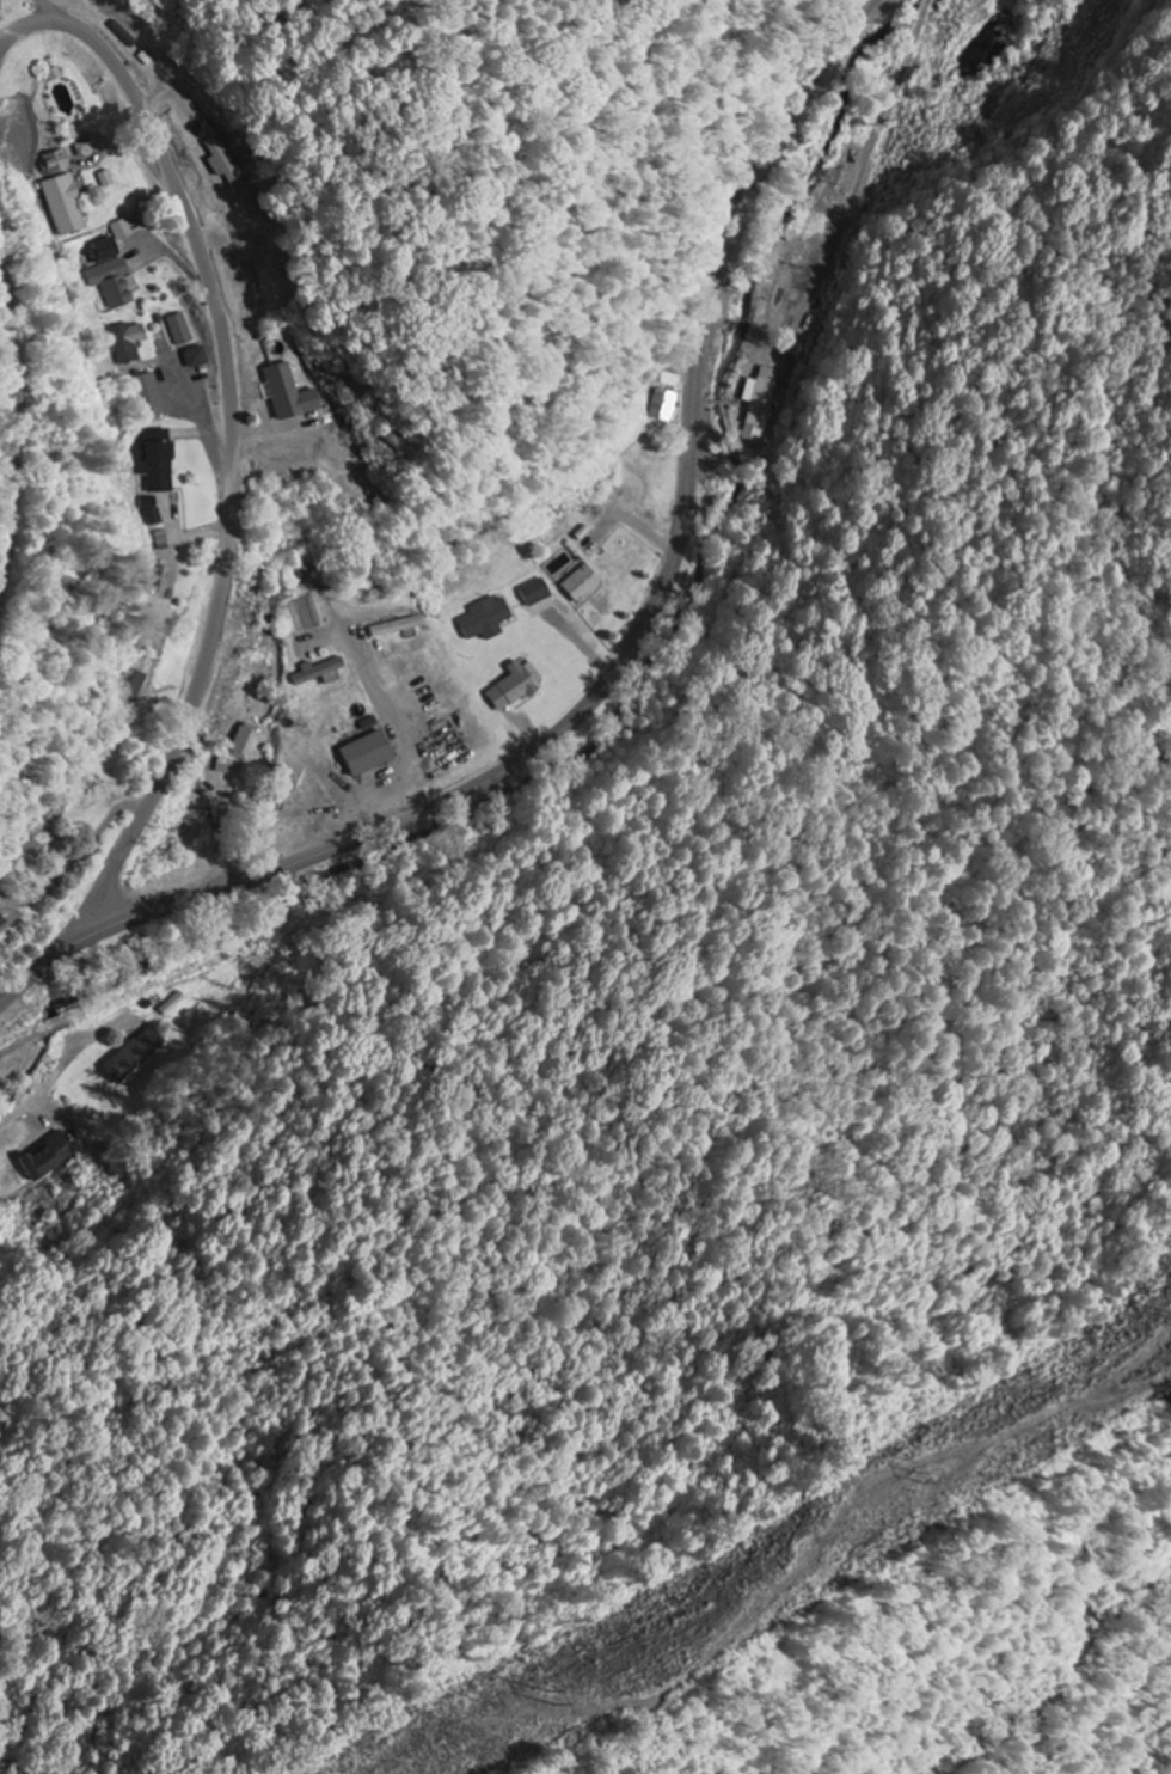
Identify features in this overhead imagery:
road: (53, 13)
building: (222, 165)
building: (106, 179)
building: (65, 196)
building: (123, 231)
building: (104, 251)
building: (115, 283)
building: (182, 330)
building: (129, 342)
building: (196, 357)
building: (289, 394)
building: (148, 398)
building: (759, 404)
building: (663, 406)
road: (14, 421)
road: (232, 436)
building: (157, 461)
building: (152, 512)
building: (582, 585)
building: (535, 593)
building: (486, 619)
building: (397, 628)
road: (624, 660)
building: (320, 673)
building: (515, 687)
road: (374, 690)
building: (246, 744)
building: (367, 754)
road: (48, 903)
building: (134, 1057)
road: (66, 1062)
building: (49, 1158)
power tower: (550, 1692)

